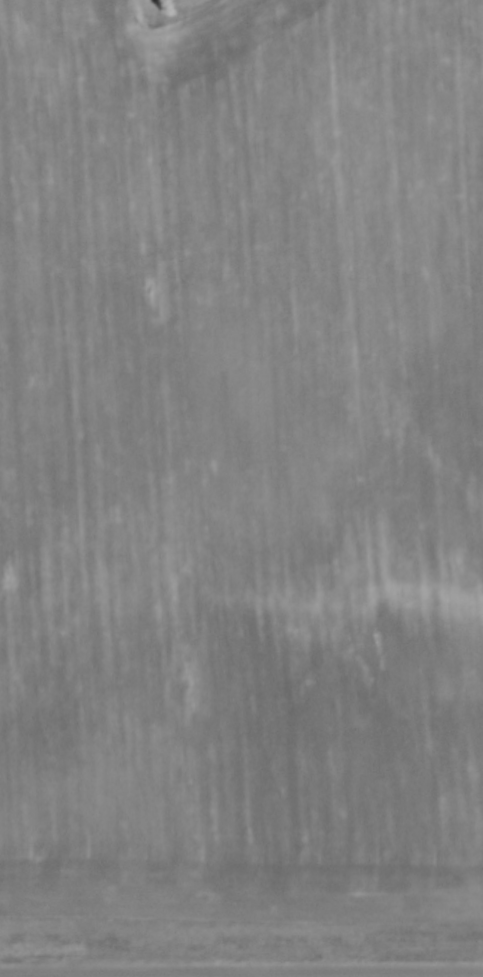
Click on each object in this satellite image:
road: (241, 967)

